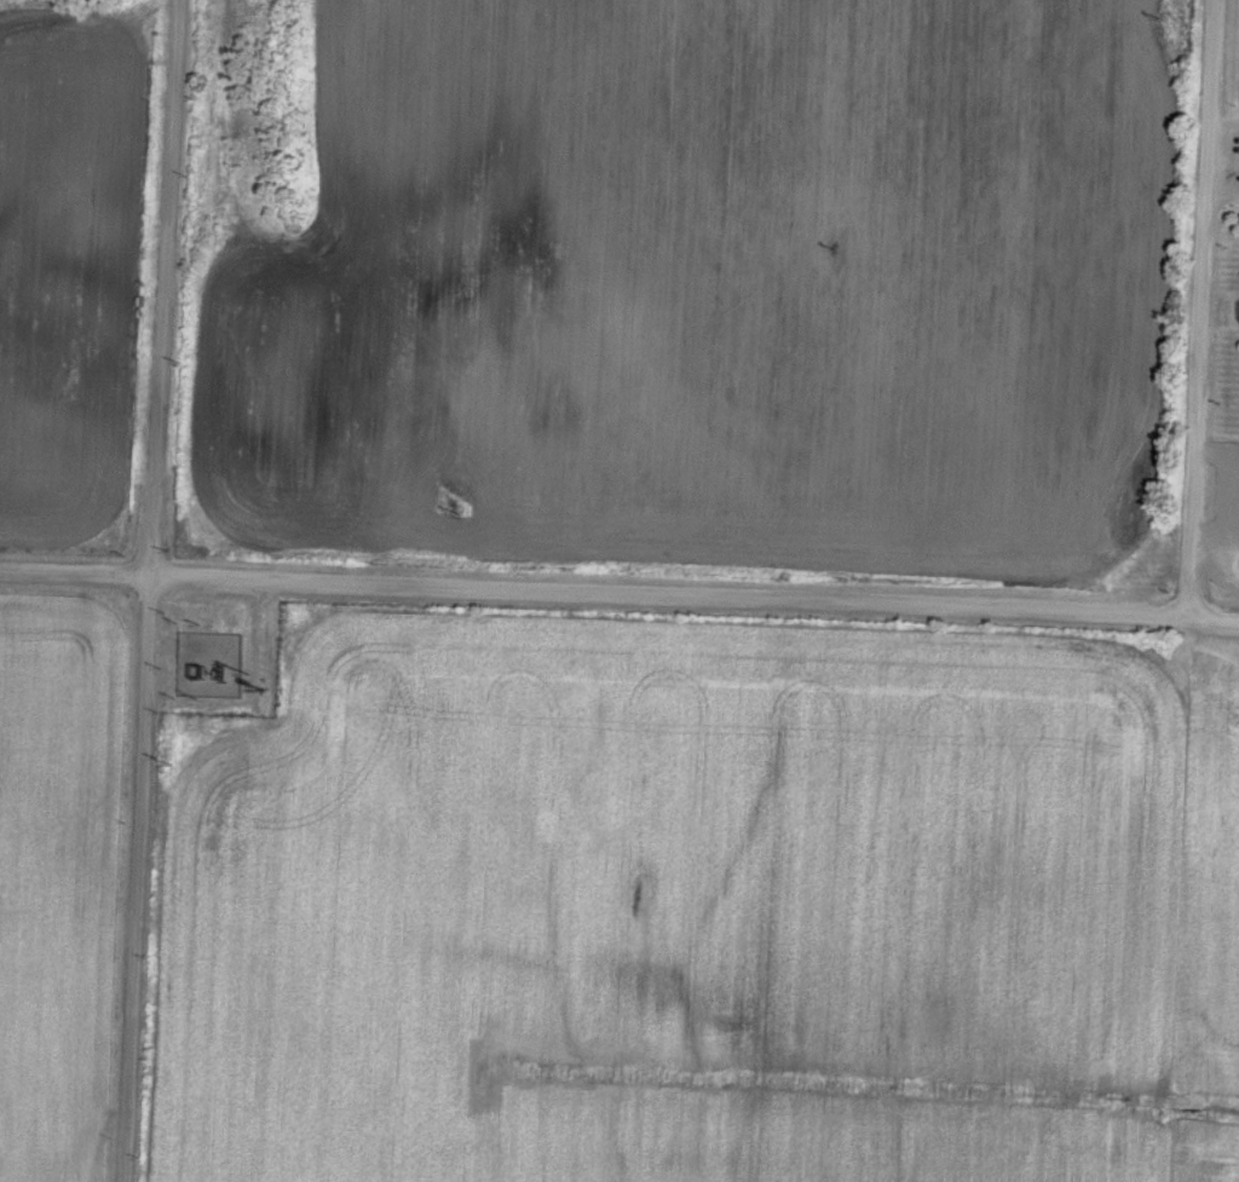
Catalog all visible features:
road: (167, 288)
road: (1206, 310)
road: (619, 594)
road: (139, 880)

